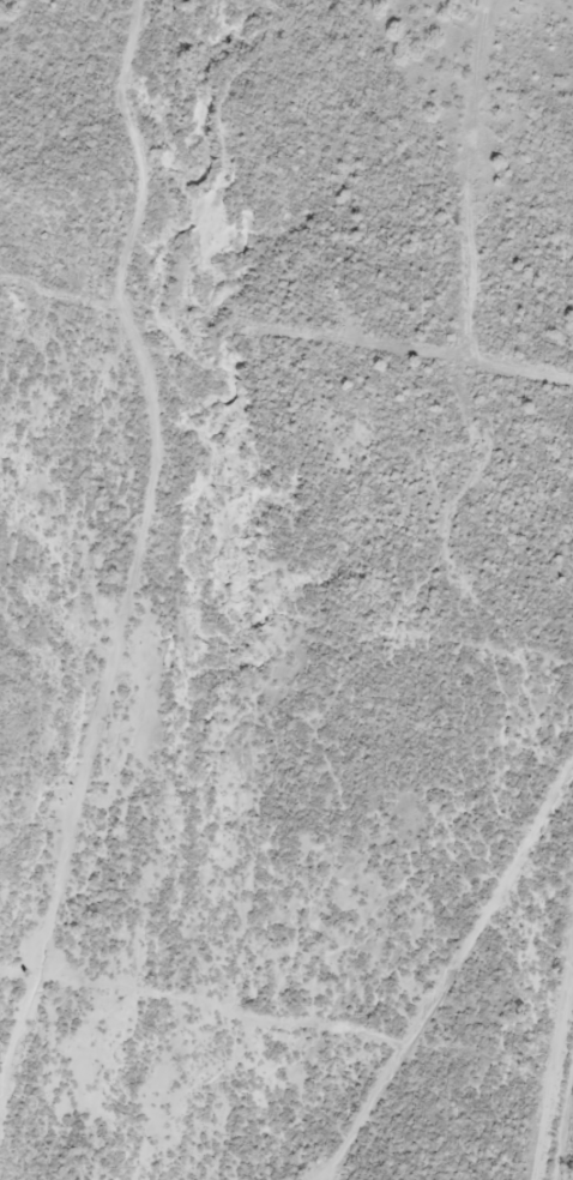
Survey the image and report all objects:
road: (551, 1115)

